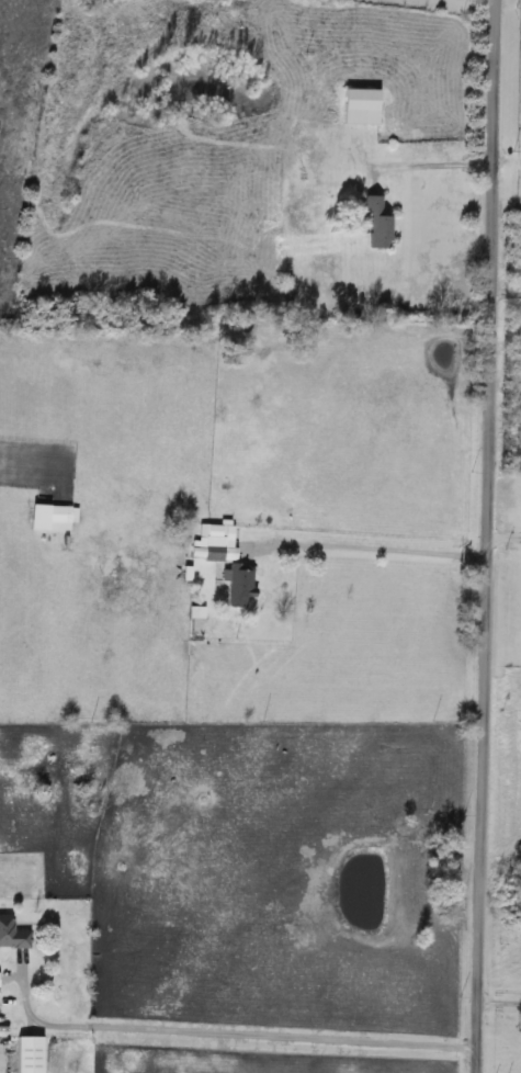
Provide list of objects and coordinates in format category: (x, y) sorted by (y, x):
building: (356, 106)
road: (433, 166)
building: (374, 225)
building: (284, 289)
road: (506, 294)
building: (58, 519)
road: (485, 536)
building: (211, 543)
road: (370, 546)
building: (235, 587)
building: (11, 936)
road: (498, 1001)
road: (224, 1030)
building: (24, 1054)

